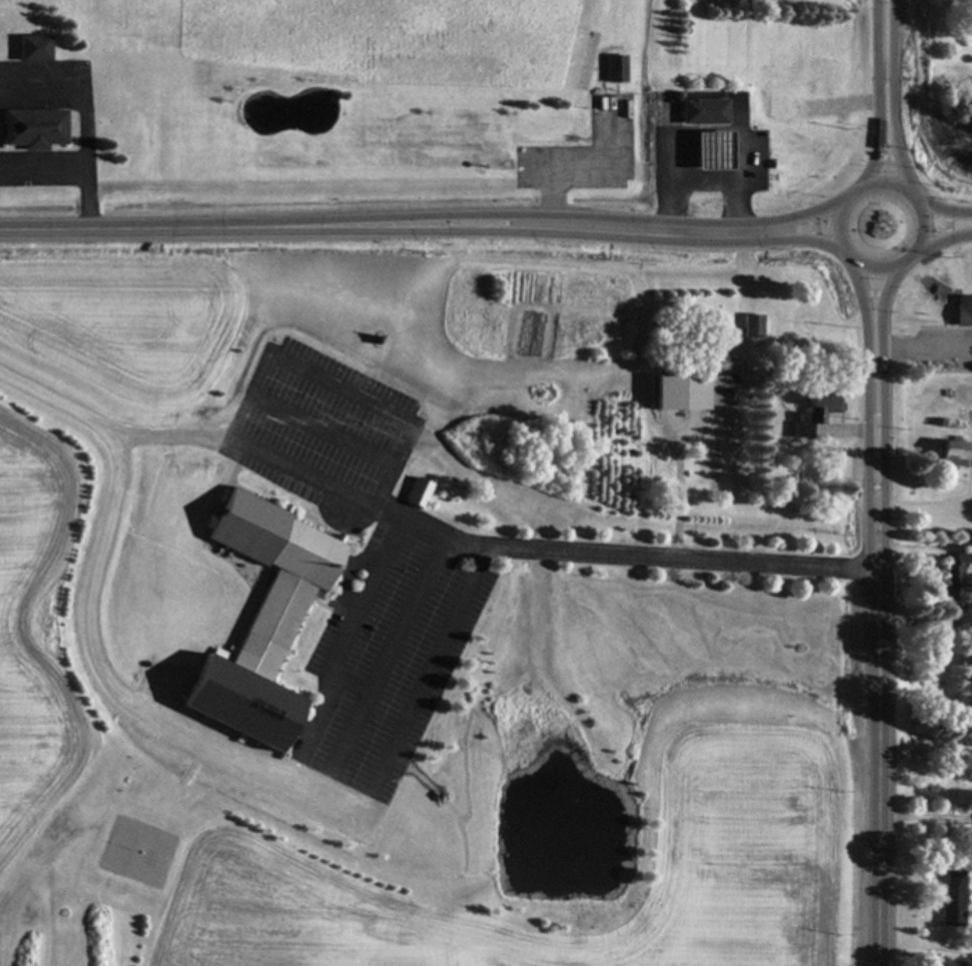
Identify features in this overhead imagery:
building: (29, 50)
building: (612, 71)
road: (877, 94)
road: (895, 96)
building: (699, 113)
road: (83, 114)
building: (30, 131)
building: (708, 153)
road: (587, 169)
road: (43, 176)
road: (886, 181)
road: (706, 183)
road: (850, 191)
road: (912, 196)
road: (943, 210)
road: (577, 214)
road: (155, 226)
road: (835, 228)
road: (923, 228)
road: (578, 233)
road: (940, 238)
road: (848, 257)
road: (908, 258)
road: (877, 269)
building: (961, 312)
building: (749, 327)
road: (919, 348)
road: (341, 390)
building: (689, 393)
road: (881, 406)
road: (867, 407)
building: (812, 413)
road: (322, 430)
road: (264, 451)
building: (950, 454)
building: (415, 494)
road: (678, 496)
road: (921, 508)
road: (489, 547)
road: (925, 551)
building: (962, 558)
building: (949, 583)
building: (258, 621)
road: (383, 667)
road: (194, 734)
road: (878, 759)
road: (922, 816)
road: (900, 877)
building: (950, 901)
building: (949, 964)

